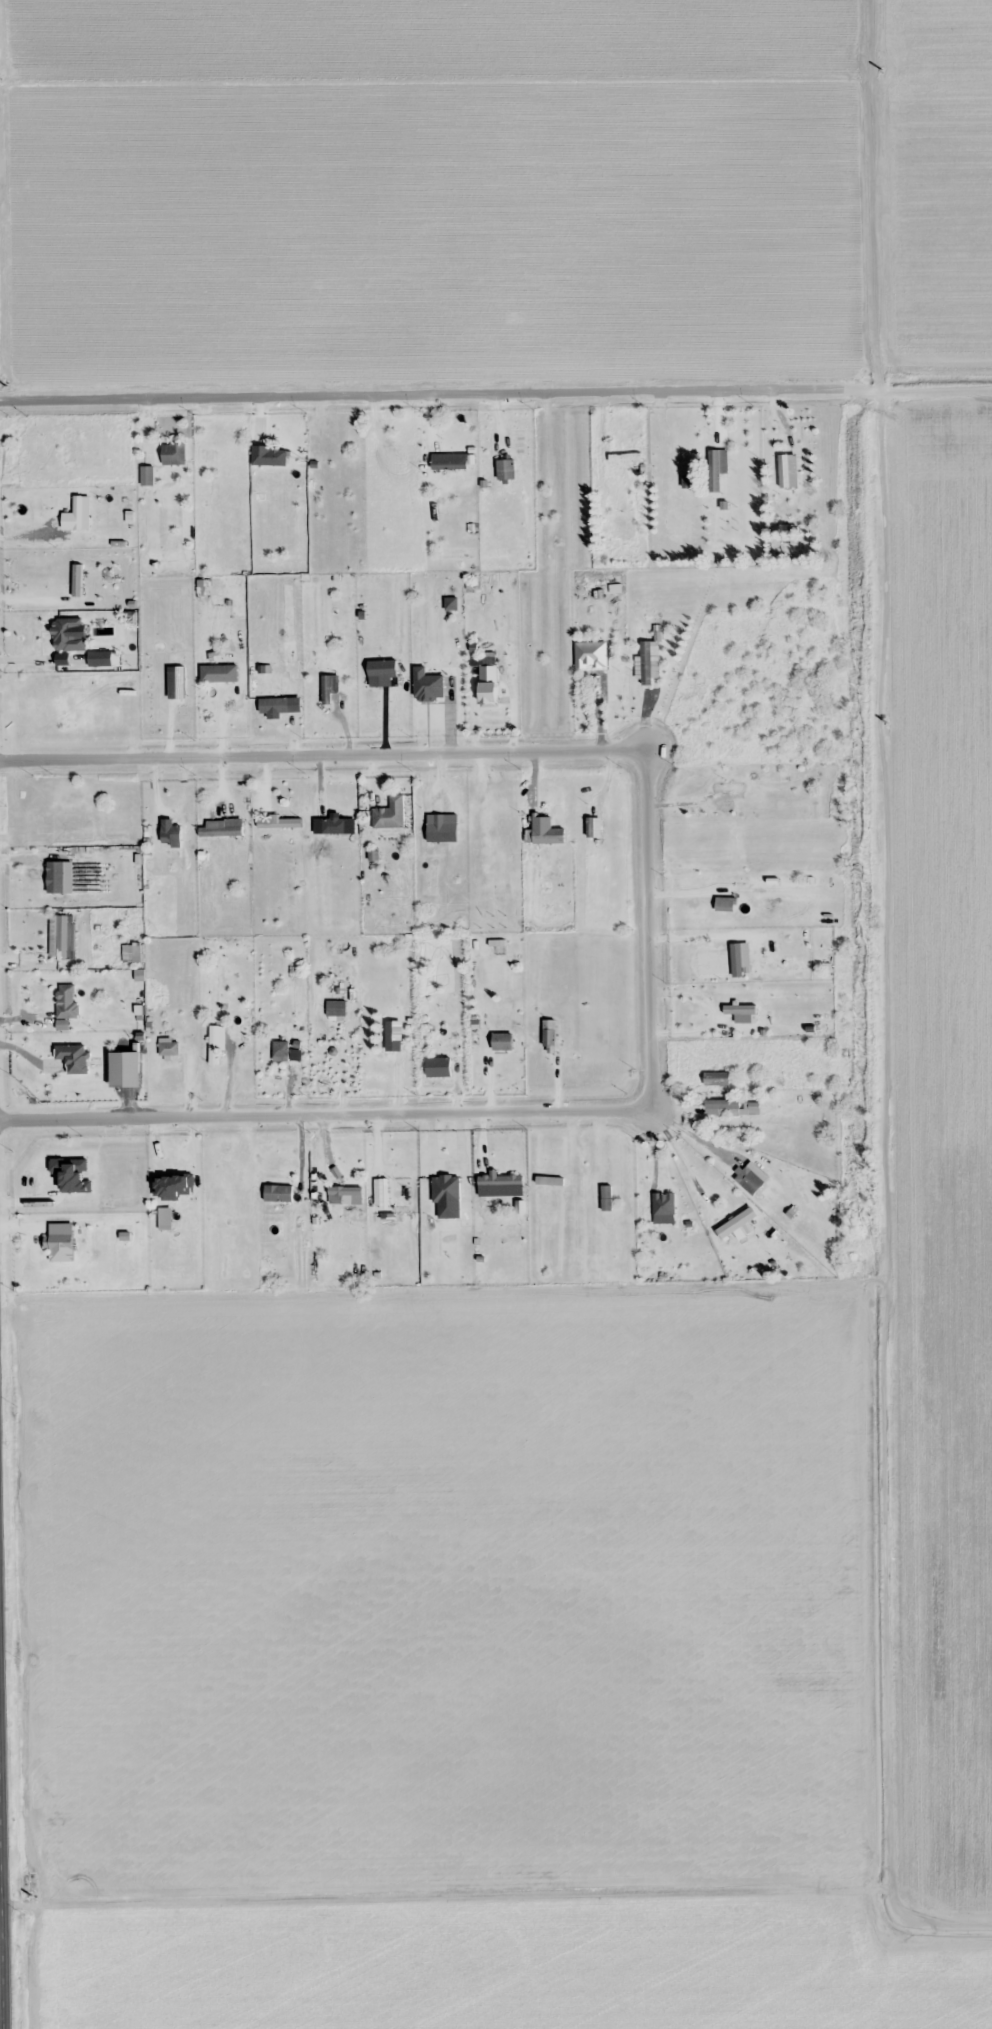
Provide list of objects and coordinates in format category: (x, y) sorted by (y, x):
road: (877, 195)
road: (495, 394)
building: (173, 453)
building: (269, 455)
building: (625, 456)
building: (449, 461)
building: (716, 468)
building: (505, 469)
building: (146, 475)
building: (80, 509)
building: (77, 580)
building: (67, 634)
building: (108, 658)
building: (482, 663)
building: (650, 663)
building: (382, 673)
building: (607, 681)
building: (329, 687)
building: (488, 691)
building: (273, 705)
building: (390, 813)
building: (278, 822)
building: (219, 830)
building: (548, 835)
building: (170, 836)
building: (333, 837)
building: (278, 847)
building: (735, 847)
building: (55, 877)
building: (725, 904)
road: (649, 934)
building: (60, 940)
building: (739, 959)
building: (66, 1001)
building: (335, 1008)
building: (740, 1009)
building: (391, 1036)
building: (549, 1037)
building: (502, 1041)
building: (168, 1048)
building: (280, 1050)
building: (73, 1057)
building: (716, 1078)
building: (721, 1107)
building: (500, 1181)
building: (752, 1183)
building: (445, 1188)
building: (278, 1193)
building: (648, 1196)
building: (226, 1198)
road: (881, 1198)
building: (171, 1213)
building: (736, 1223)
building: (60, 1236)
road: (1, 1908)

